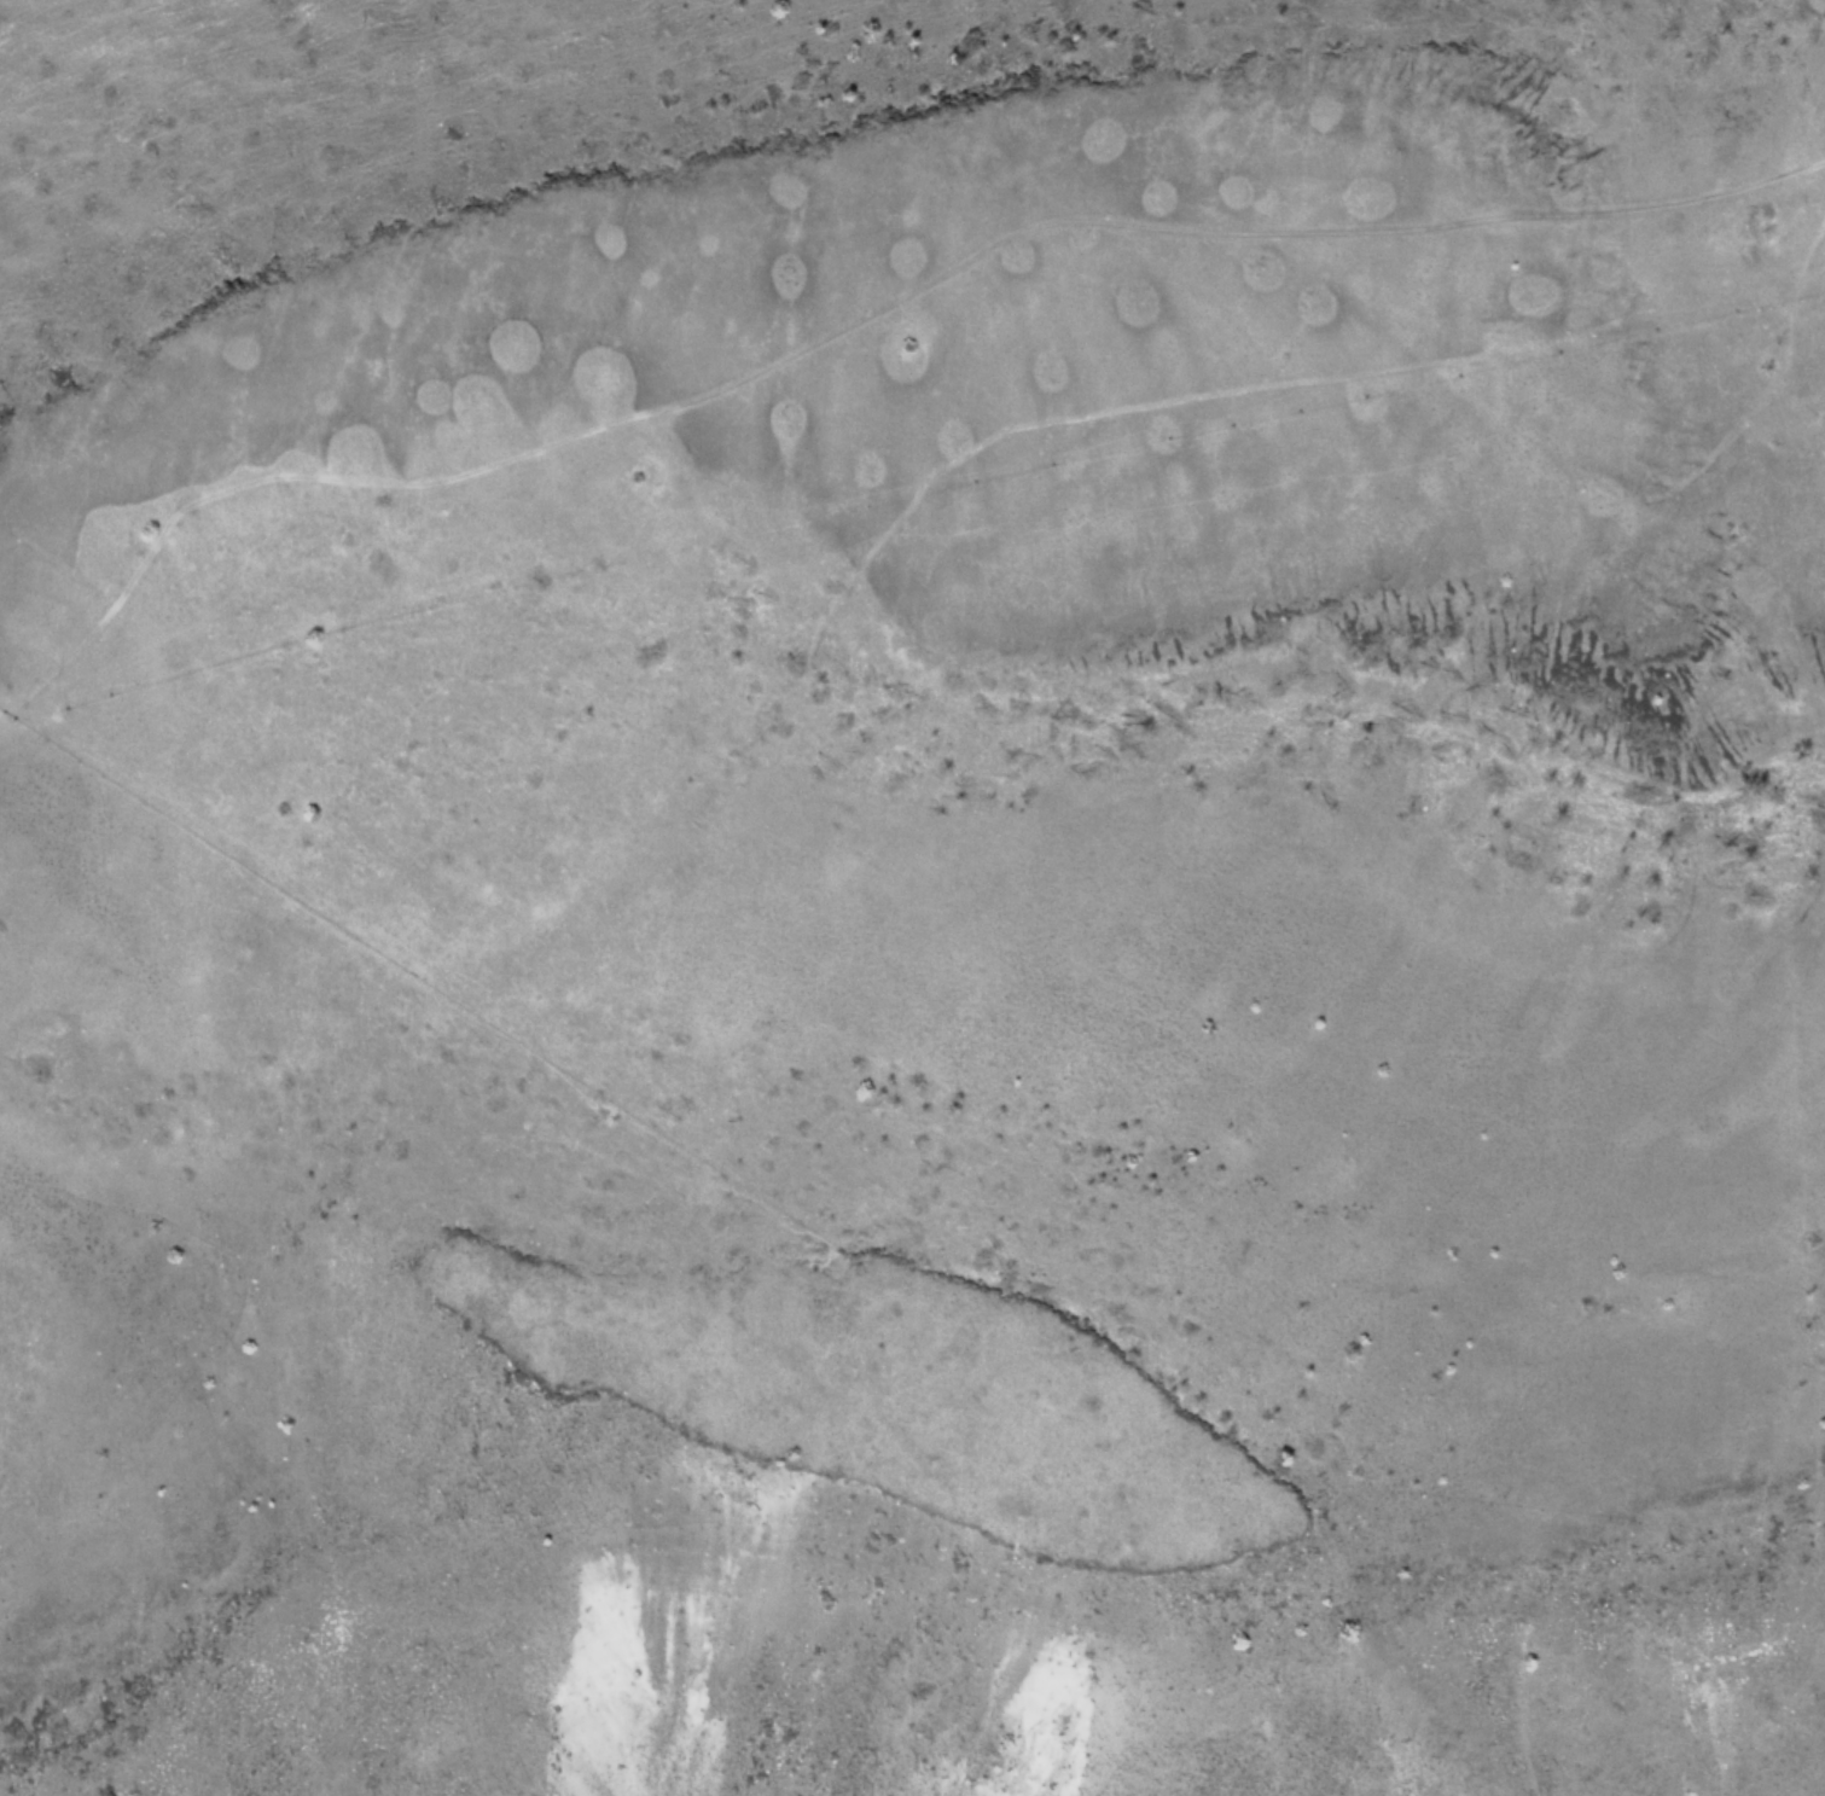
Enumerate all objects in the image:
road: (215, 1345)

